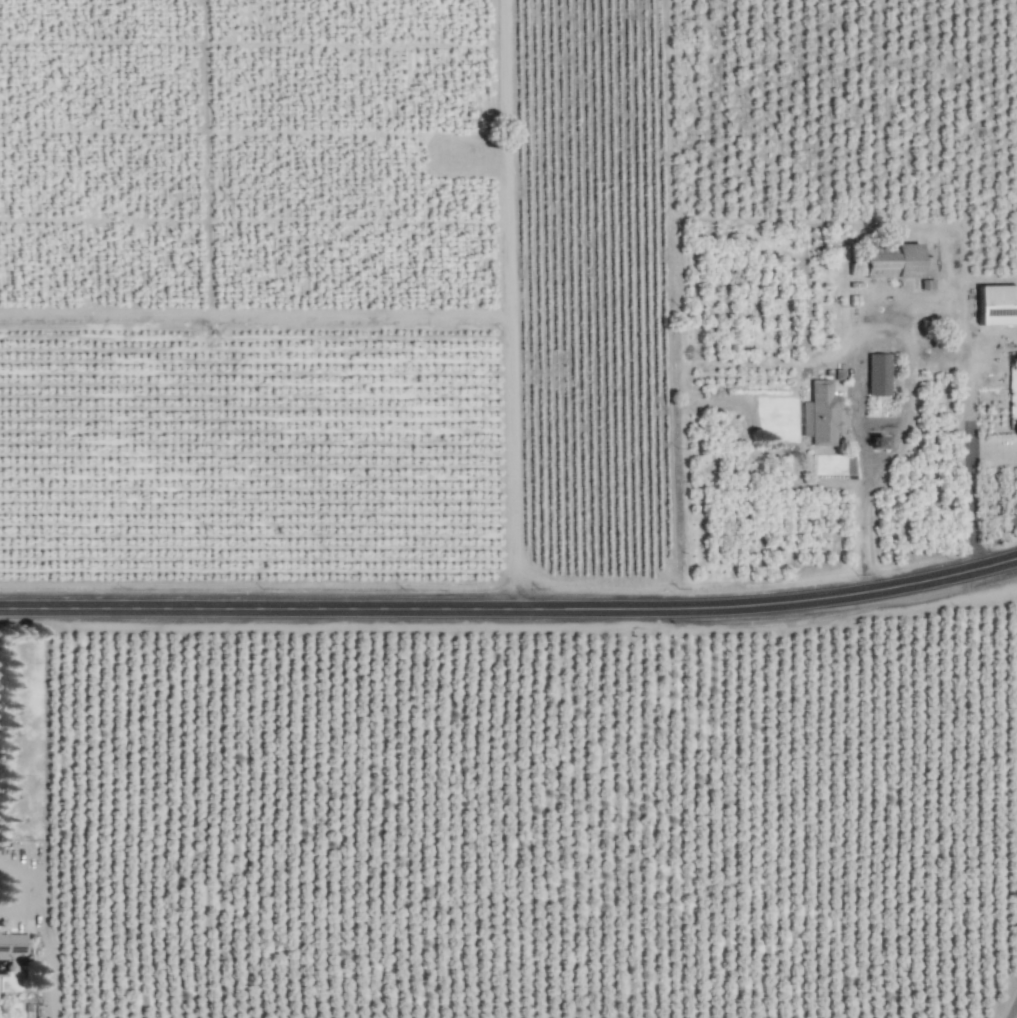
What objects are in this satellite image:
building: (887, 263)
road: (511, 305)
building: (997, 305)
road: (853, 362)
building: (878, 374)
building: (823, 414)
building: (1015, 430)
building: (877, 442)
road: (970, 489)
road: (510, 610)

